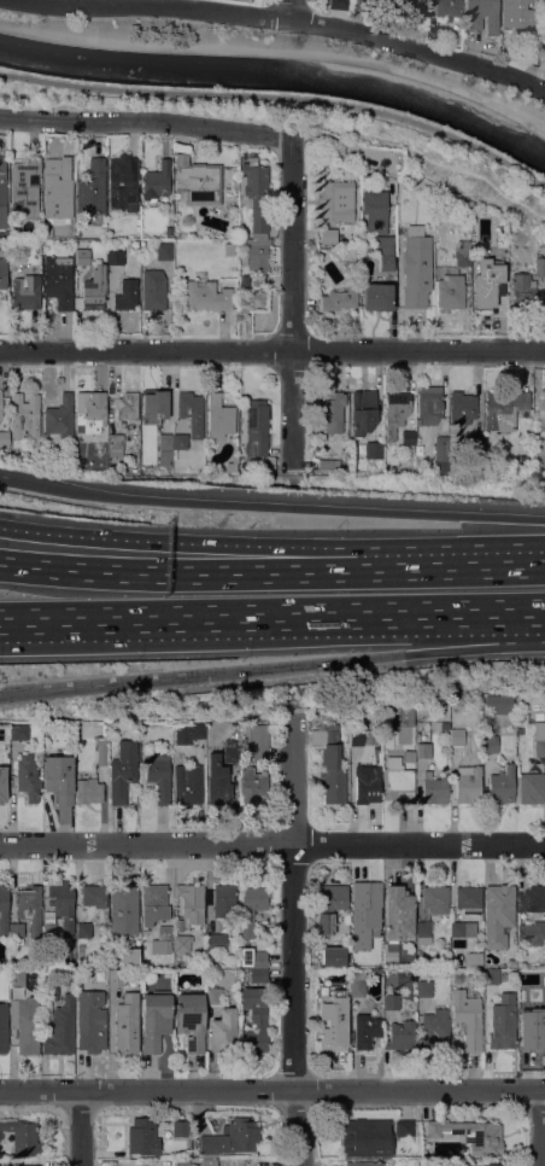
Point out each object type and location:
building: (376, 0)
building: (336, 4)
building: (362, 5)
building: (409, 6)
building: (444, 7)
road: (291, 8)
building: (517, 13)
building: (482, 14)
road: (287, 17)
road: (315, 37)
building: (543, 41)
road: (279, 49)
river: (280, 72)
road: (280, 95)
road: (146, 119)
road: (421, 150)
building: (241, 155)
park: (430, 165)
building: (122, 180)
building: (157, 180)
building: (197, 180)
building: (2, 181)
building: (27, 187)
building: (92, 188)
building: (256, 190)
building: (54, 191)
building: (228, 192)
building: (336, 200)
building: (375, 210)
building: (116, 215)
building: (169, 231)
building: (112, 233)
building: (136, 233)
building: (241, 234)
building: (328, 235)
building: (70, 243)
building: (385, 244)
building: (229, 249)
building: (254, 251)
building: (115, 256)
building: (477, 258)
building: (348, 262)
building: (386, 262)
building: (416, 266)
building: (539, 266)
building: (81, 267)
building: (2, 273)
building: (157, 279)
building: (58, 281)
building: (485, 288)
building: (522, 290)
building: (27, 291)
building: (451, 291)
building: (94, 293)
building: (127, 295)
building: (206, 296)
building: (376, 296)
building: (252, 297)
building: (340, 297)
road: (291, 302)
road: (271, 349)
building: (0, 403)
building: (156, 403)
building: (429, 404)
building: (127, 406)
building: (462, 407)
building: (504, 408)
building: (395, 409)
building: (90, 412)
building: (191, 412)
building: (332, 412)
building: (363, 412)
building: (219, 416)
building: (25, 420)
building: (59, 420)
building: (257, 427)
building: (408, 437)
building: (4, 438)
building: (180, 441)
building: (115, 444)
building: (420, 448)
building: (164, 449)
building: (374, 449)
building: (475, 453)
building: (441, 455)
building: (233, 462)
building: (326, 464)
road: (4, 474)
road: (275, 505)
road: (177, 547)
road: (450, 565)
road: (176, 573)
road: (271, 618)
road: (474, 649)
road: (305, 664)
road: (104, 682)
building: (500, 702)
building: (538, 715)
building: (439, 724)
building: (520, 730)
building: (18, 731)
building: (188, 731)
building: (356, 736)
building: (457, 736)
building: (408, 738)
building: (539, 739)
building: (242, 740)
building: (488, 740)
building: (258, 741)
building: (17, 746)
building: (423, 750)
building: (63, 751)
building: (230, 751)
building: (101, 752)
building: (330, 762)
building: (123, 770)
building: (159, 776)
building: (27, 777)
building: (58, 777)
building: (399, 779)
building: (218, 781)
building: (2, 782)
building: (468, 783)
building: (187, 785)
building: (252, 785)
building: (367, 785)
building: (500, 785)
building: (531, 787)
building: (434, 788)
building: (88, 791)
road: (272, 843)
building: (94, 894)
building: (368, 894)
building: (153, 898)
building: (435, 898)
building: (469, 898)
building: (532, 898)
building: (223, 899)
building: (29, 903)
building: (189, 904)
building: (330, 905)
building: (251, 906)
building: (123, 909)
building: (4, 910)
building: (398, 913)
building: (58, 914)
building: (498, 914)
building: (462, 928)
building: (16, 929)
building: (83, 929)
building: (423, 932)
building: (532, 932)
building: (165, 937)
building: (373, 937)
building: (217, 940)
building: (182, 941)
road: (292, 944)
building: (330, 951)
building: (129, 957)
building: (474, 957)
building: (258, 958)
building: (240, 974)
building: (258, 975)
building: (17, 976)
building: (116, 976)
building: (490, 976)
building: (357, 983)
building: (327, 984)
building: (423, 989)
building: (49, 992)
building: (213, 996)
building: (389, 1002)
building: (523, 1002)
building: (11, 1011)
building: (256, 1015)
building: (467, 1018)
building: (154, 1019)
building: (191, 1020)
building: (90, 1021)
building: (127, 1022)
building: (503, 1022)
building: (28, 1026)
building: (2, 1027)
building: (60, 1028)
building: (432, 1028)
building: (365, 1030)
building: (222, 1031)
building: (332, 1031)
building: (400, 1034)
building: (534, 1039)
road: (272, 1090)
road: (78, 1127)
road: (539, 1127)
building: (180, 1129)
building: (469, 1133)
building: (417, 1135)
building: (142, 1136)
building: (375, 1136)
building: (23, 1137)
building: (232, 1137)
building: (209, 1162)
building: (363, 1164)
building: (497, 1164)
building: (25, 1165)

